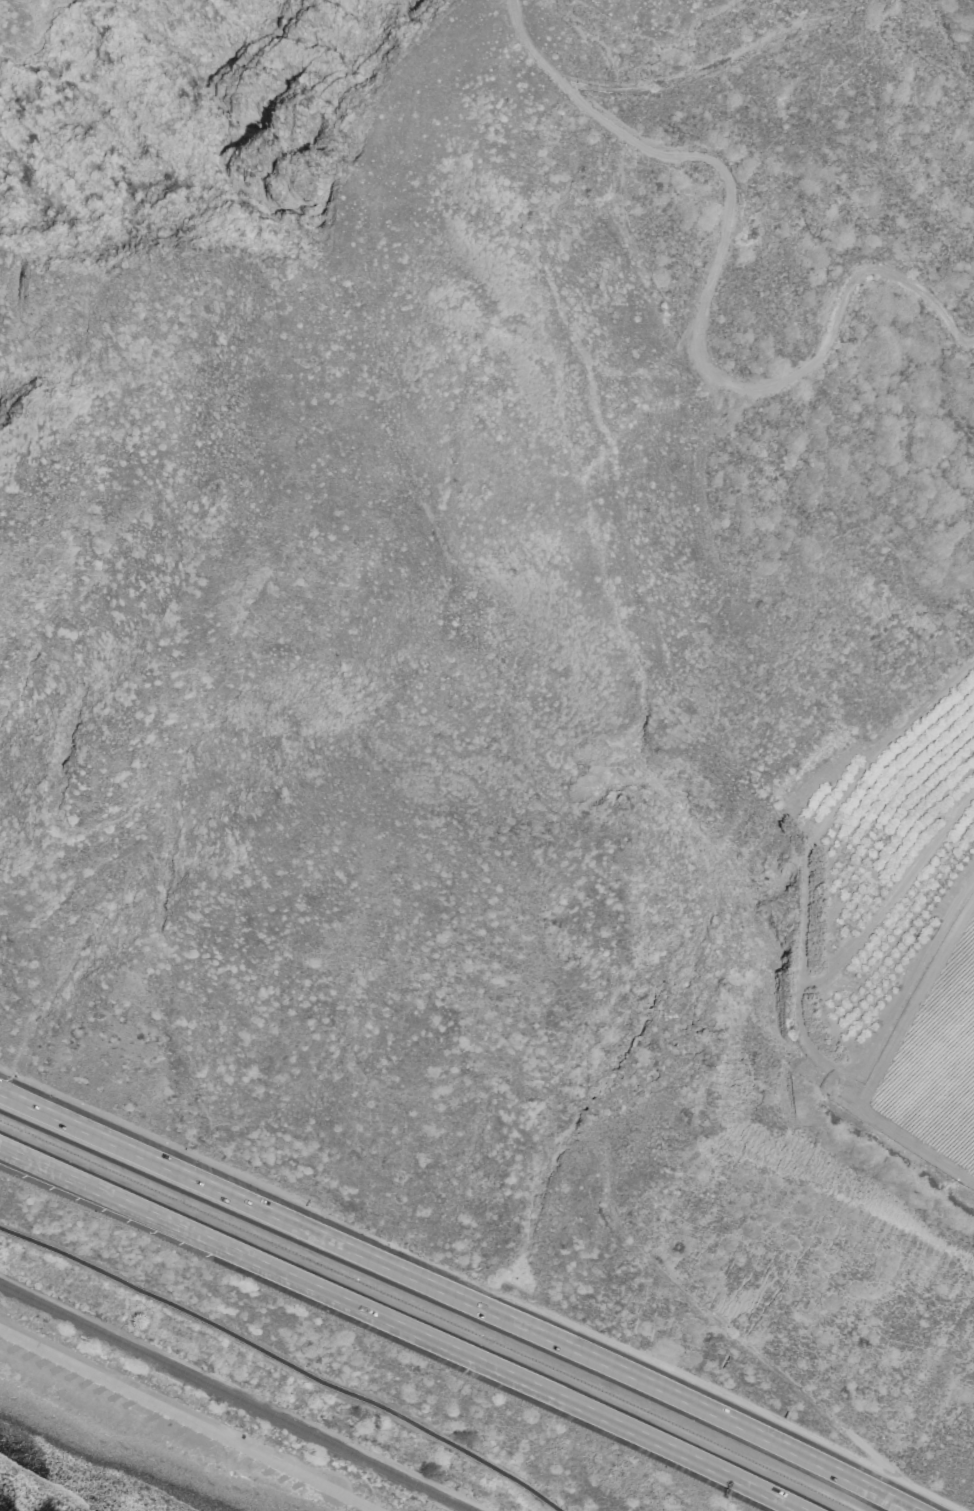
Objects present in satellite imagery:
road: (702, 310)
road: (891, 894)
road: (800, 962)
road: (881, 1060)
crop: (937, 1061)
road: (34, 1107)
road: (34, 1111)
road: (59, 1175)
road: (59, 1178)
road: (491, 1313)
road: (460, 1352)
road: (285, 1361)
railway: (235, 1397)
road: (188, 1417)
park: (179, 1420)

